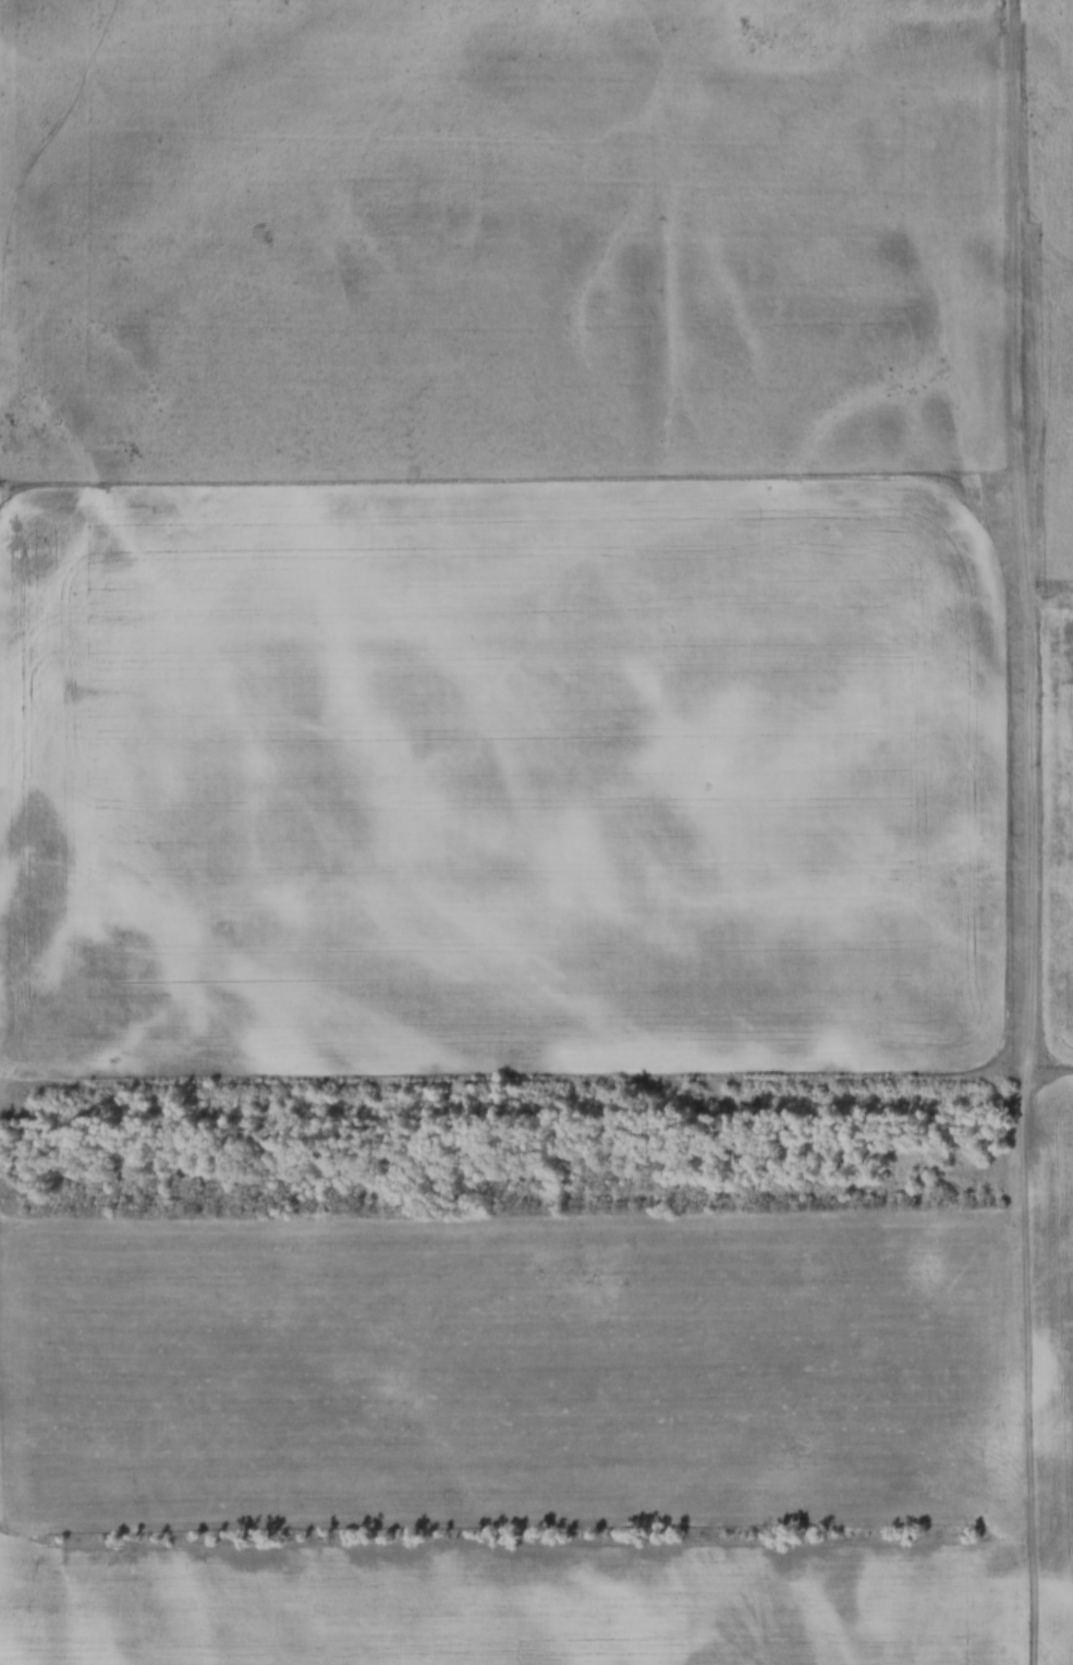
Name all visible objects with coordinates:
road: (1024, 831)

